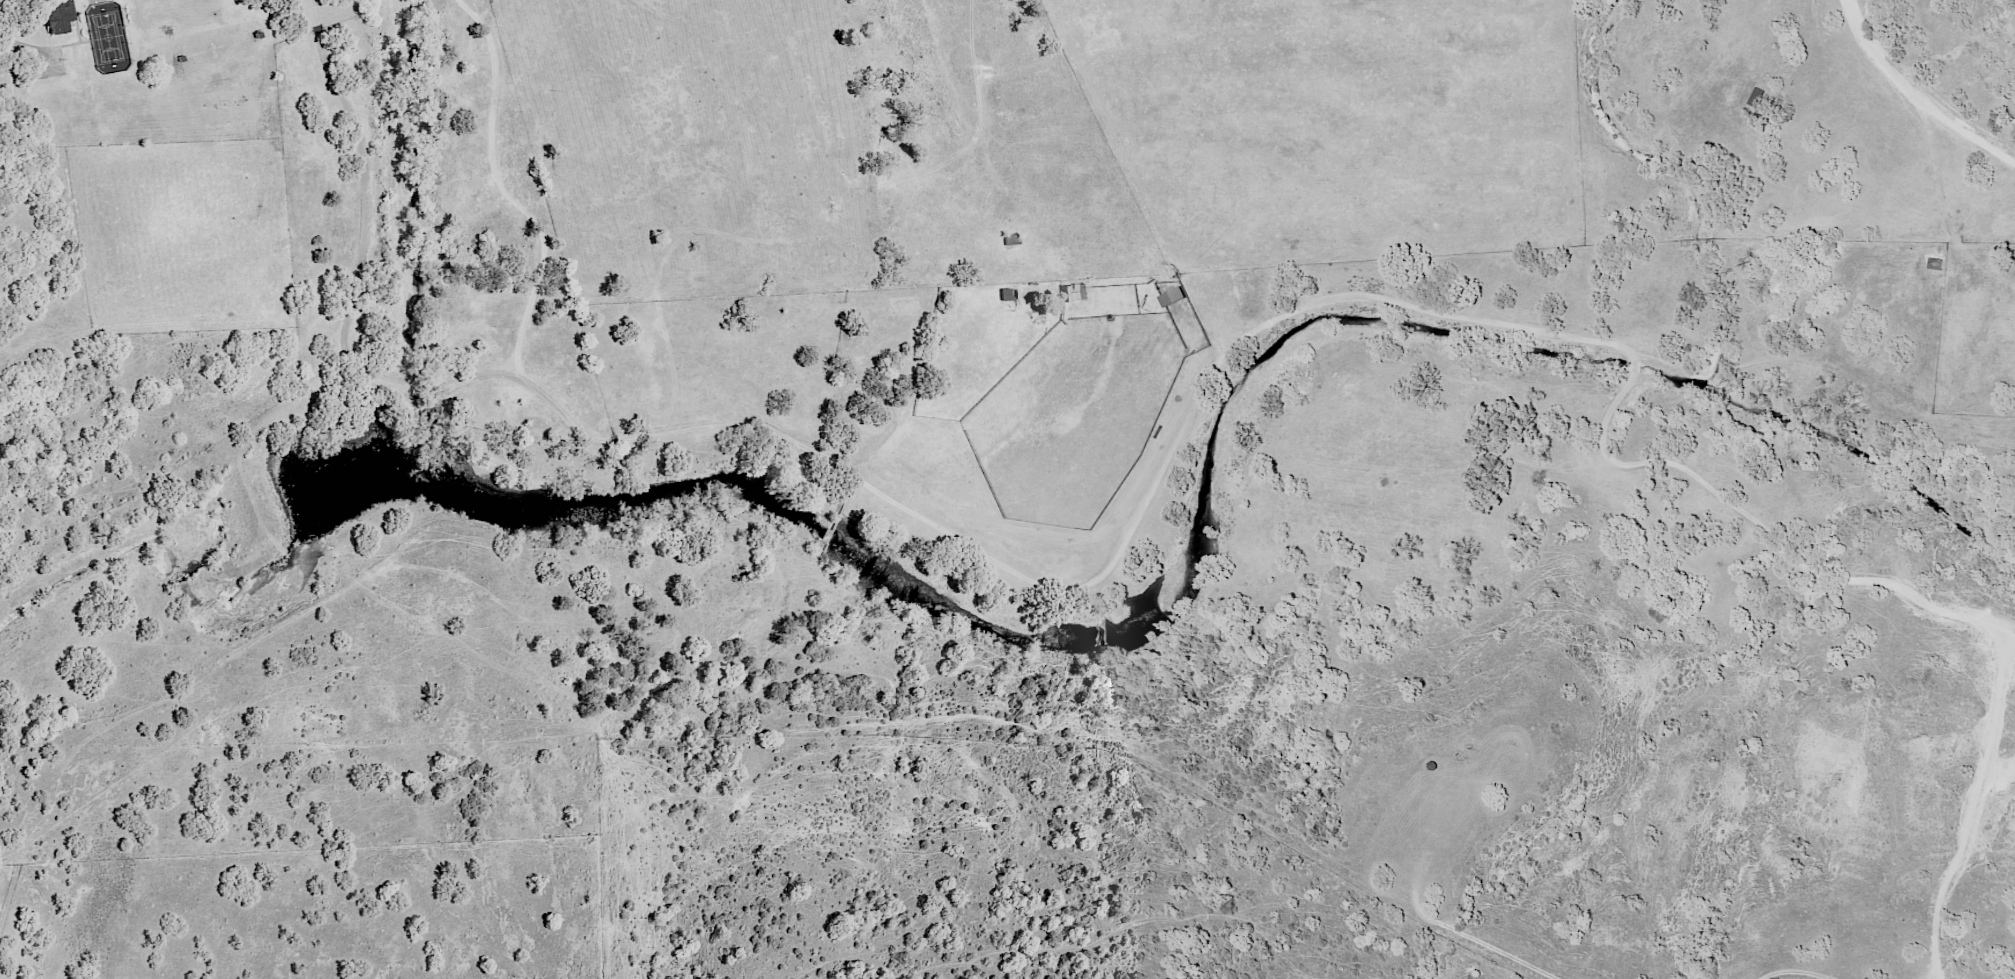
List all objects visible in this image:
building: (53, 15)
road: (1916, 98)
building: (1757, 100)
building: (1012, 241)
building: (1071, 294)
building: (1171, 299)
road: (151, 336)
building: (868, 362)
road: (892, 421)
road: (1121, 561)
road: (1981, 804)

